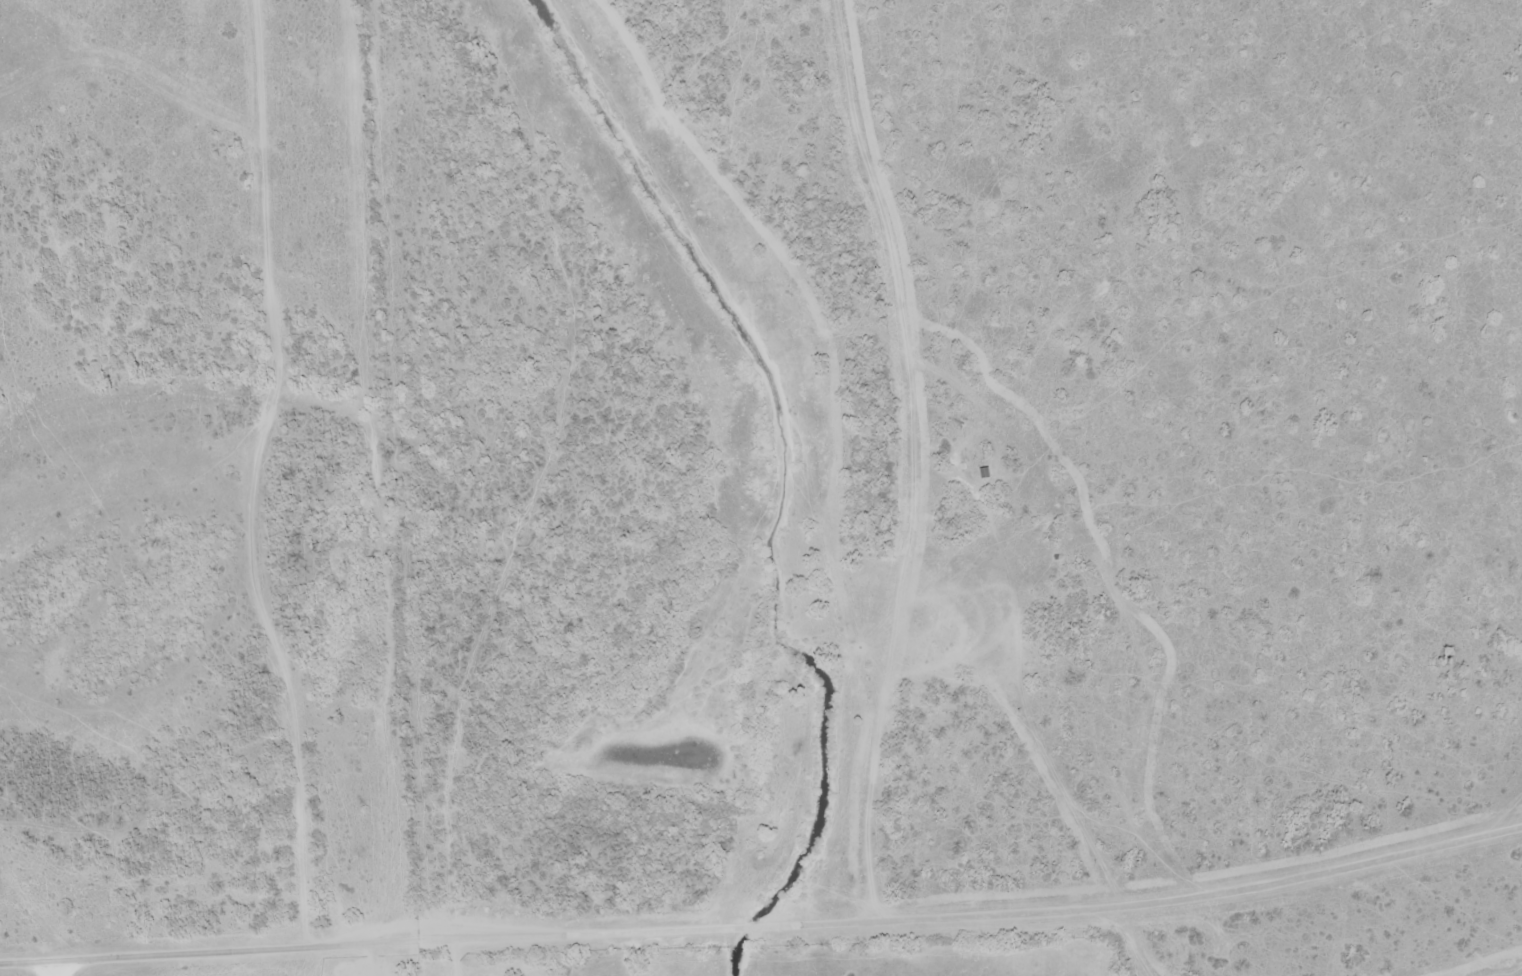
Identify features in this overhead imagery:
road: (835, 925)

